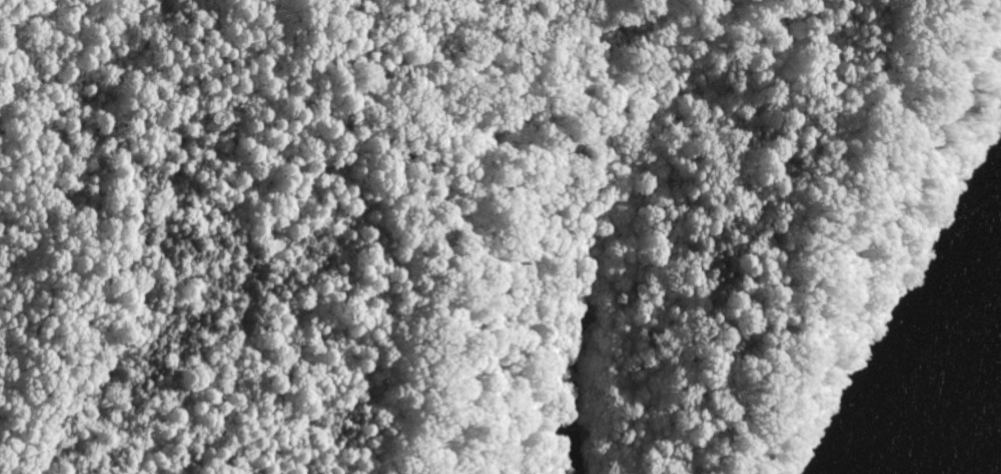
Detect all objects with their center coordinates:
park: (468, 227)

